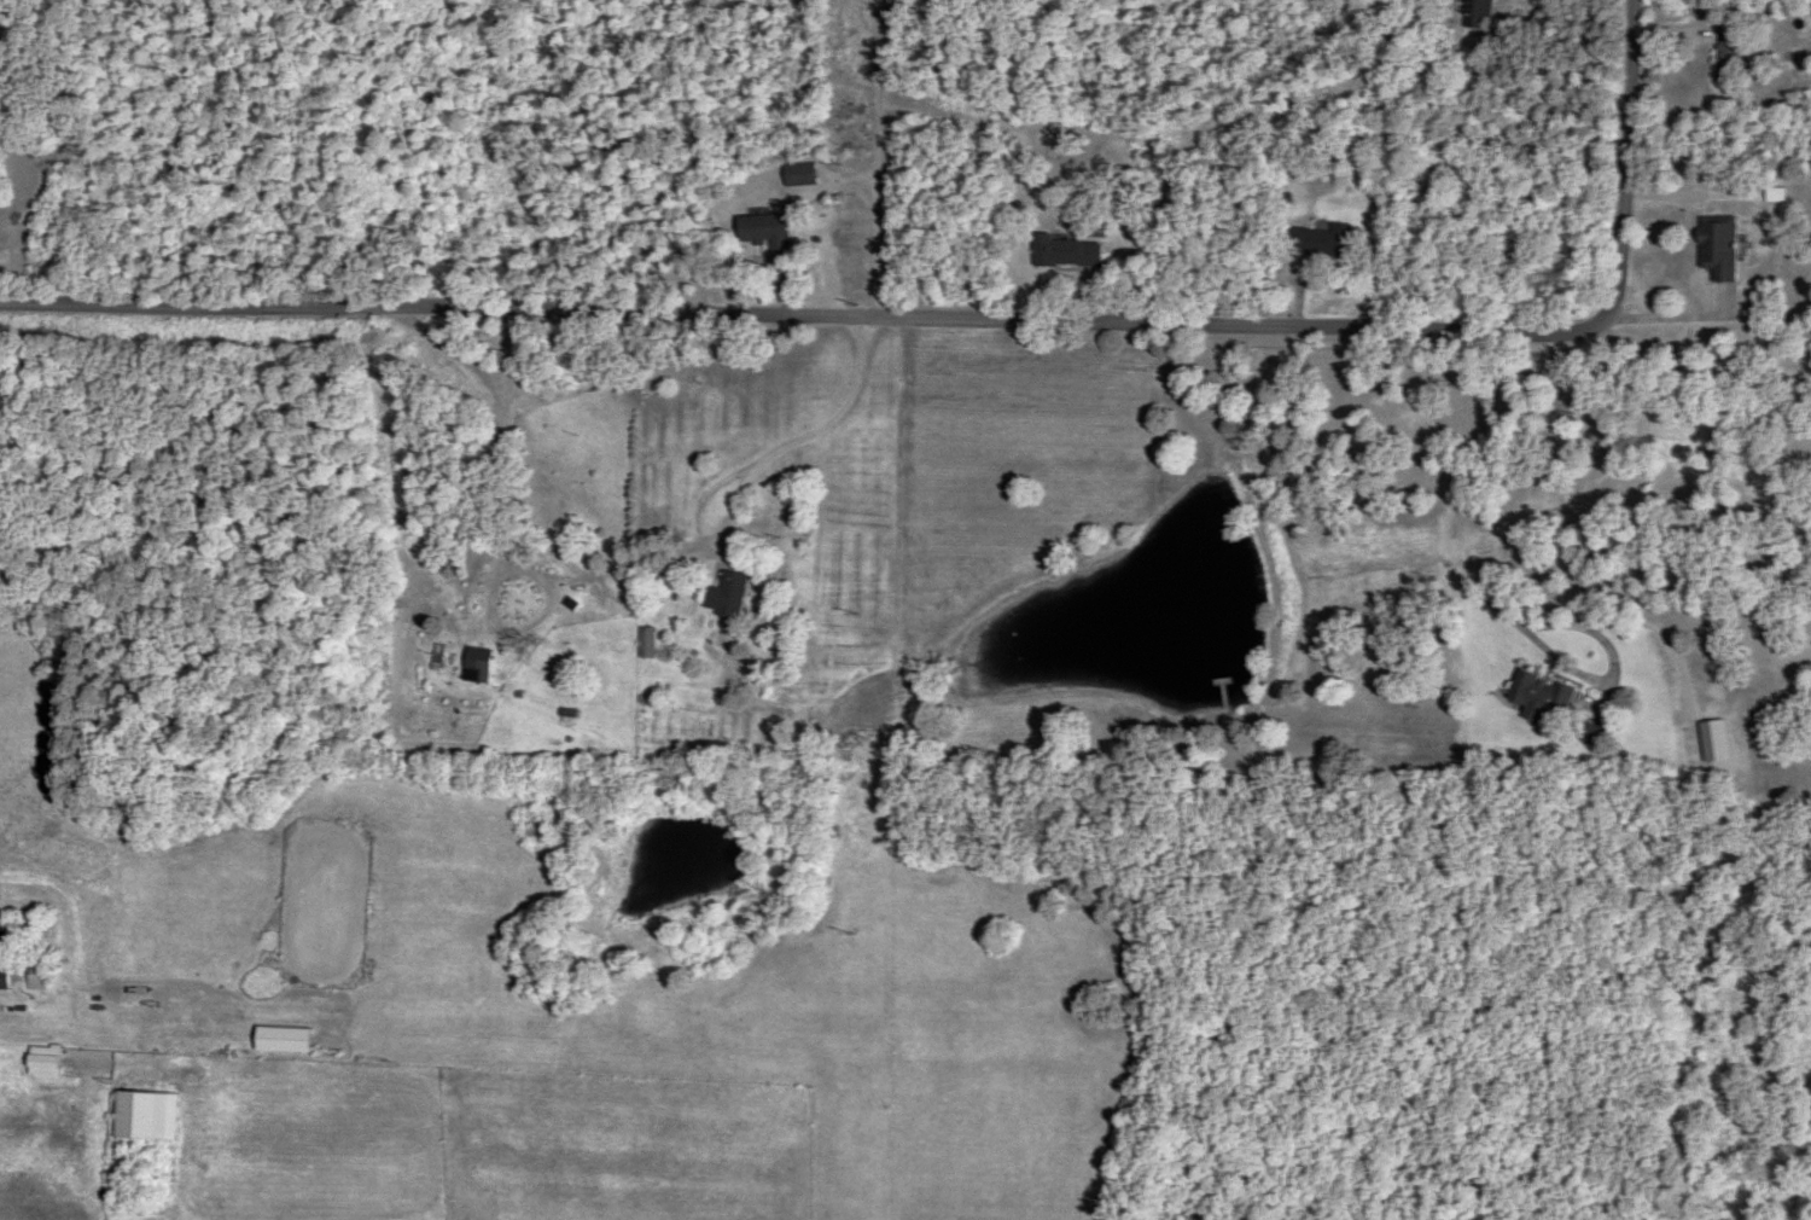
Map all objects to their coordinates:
building: (1474, 19)
building: (2, 48)
road: (1625, 158)
building: (796, 175)
building: (761, 228)
building: (1323, 240)
building: (1716, 248)
building: (1061, 252)
road: (877, 266)
road: (1671, 315)
road: (804, 318)
road: (1451, 484)
road: (707, 495)
road: (1269, 521)
building: (722, 597)
building: (586, 605)
building: (642, 641)
road: (1557, 660)
building: (473, 667)
building: (1535, 696)
building: (1586, 734)
road: (886, 769)
building: (2, 971)
building: (33, 978)

